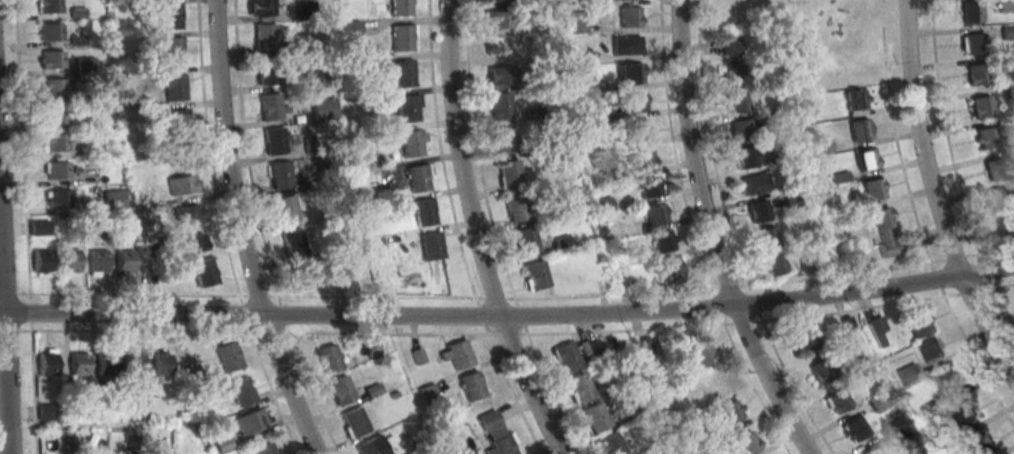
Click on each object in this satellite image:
building: (493, 0)
building: (1006, 5)
building: (50, 6)
building: (265, 8)
building: (401, 8)
building: (971, 11)
building: (172, 17)
building: (630, 17)
building: (498, 19)
building: (51, 31)
building: (1007, 31)
park: (814, 34)
building: (266, 37)
building: (402, 39)
building: (969, 43)
building: (631, 46)
building: (730, 48)
building: (173, 50)
building: (52, 59)
building: (266, 71)
building: (975, 73)
building: (404, 74)
building: (630, 74)
building: (732, 74)
building: (497, 75)
building: (54, 86)
building: (176, 88)
building: (856, 101)
building: (635, 102)
building: (736, 102)
building: (271, 106)
building: (501, 106)
building: (980, 106)
building: (408, 108)
building: (55, 114)
building: (178, 124)
building: (859, 129)
building: (739, 130)
building: (639, 131)
building: (985, 137)
building: (506, 140)
building: (274, 141)
building: (55, 142)
building: (412, 144)
building: (823, 145)
road: (24, 147)
road: (208, 149)
building: (745, 157)
road: (246, 158)
building: (865, 158)
building: (644, 159)
road: (953, 168)
building: (994, 168)
building: (57, 169)
building: (510, 175)
building: (280, 176)
building: (418, 179)
building: (754, 183)
building: (183, 184)
building: (649, 187)
building: (873, 189)
building: (112, 197)
building: (59, 198)
road: (934, 199)
building: (1002, 199)
building: (517, 208)
building: (286, 210)
building: (758, 210)
building: (190, 211)
building: (424, 213)
building: (656, 214)
road: (918, 221)
building: (1007, 226)
building: (39, 227)
building: (884, 231)
road: (242, 232)
road: (457, 233)
road: (474, 234)
road: (494, 234)
road: (694, 235)
road: (711, 236)
road: (732, 237)
building: (766, 238)
building: (526, 240)
building: (663, 242)
building: (193, 243)
building: (294, 243)
building: (432, 247)
building: (42, 260)
building: (69, 260)
building: (125, 260)
building: (97, 262)
building: (774, 264)
building: (671, 267)
building: (205, 271)
building: (537, 275)
building: (302, 276)
road: (23, 294)
road: (524, 297)
road: (241, 299)
road: (245, 312)
road: (508, 315)
road: (272, 320)
building: (918, 325)
building: (845, 326)
building: (877, 329)
road: (129, 330)
road: (593, 330)
road: (264, 331)
road: (290, 332)
road: (6, 339)
building: (806, 339)
building: (590, 346)
building: (644, 346)
building: (373, 347)
building: (930, 350)
building: (567, 355)
building: (703, 355)
building: (461, 356)
building: (230, 358)
building: (329, 360)
building: (47, 361)
building: (78, 361)
building: (109, 364)
building: (160, 364)
building: (189, 364)
building: (822, 371)
building: (909, 373)
building: (714, 379)
road: (33, 382)
building: (948, 384)
building: (580, 385)
building: (472, 387)
road: (271, 389)
building: (342, 391)
building: (243, 392)
building: (837, 400)
building: (877, 402)
building: (731, 411)
building: (967, 415)
building: (595, 416)
building: (249, 421)
building: (356, 422)
building: (855, 427)
building: (497, 434)
building: (747, 442)
building: (611, 444)
building: (373, 446)
building: (265, 449)
building: (873, 450)

